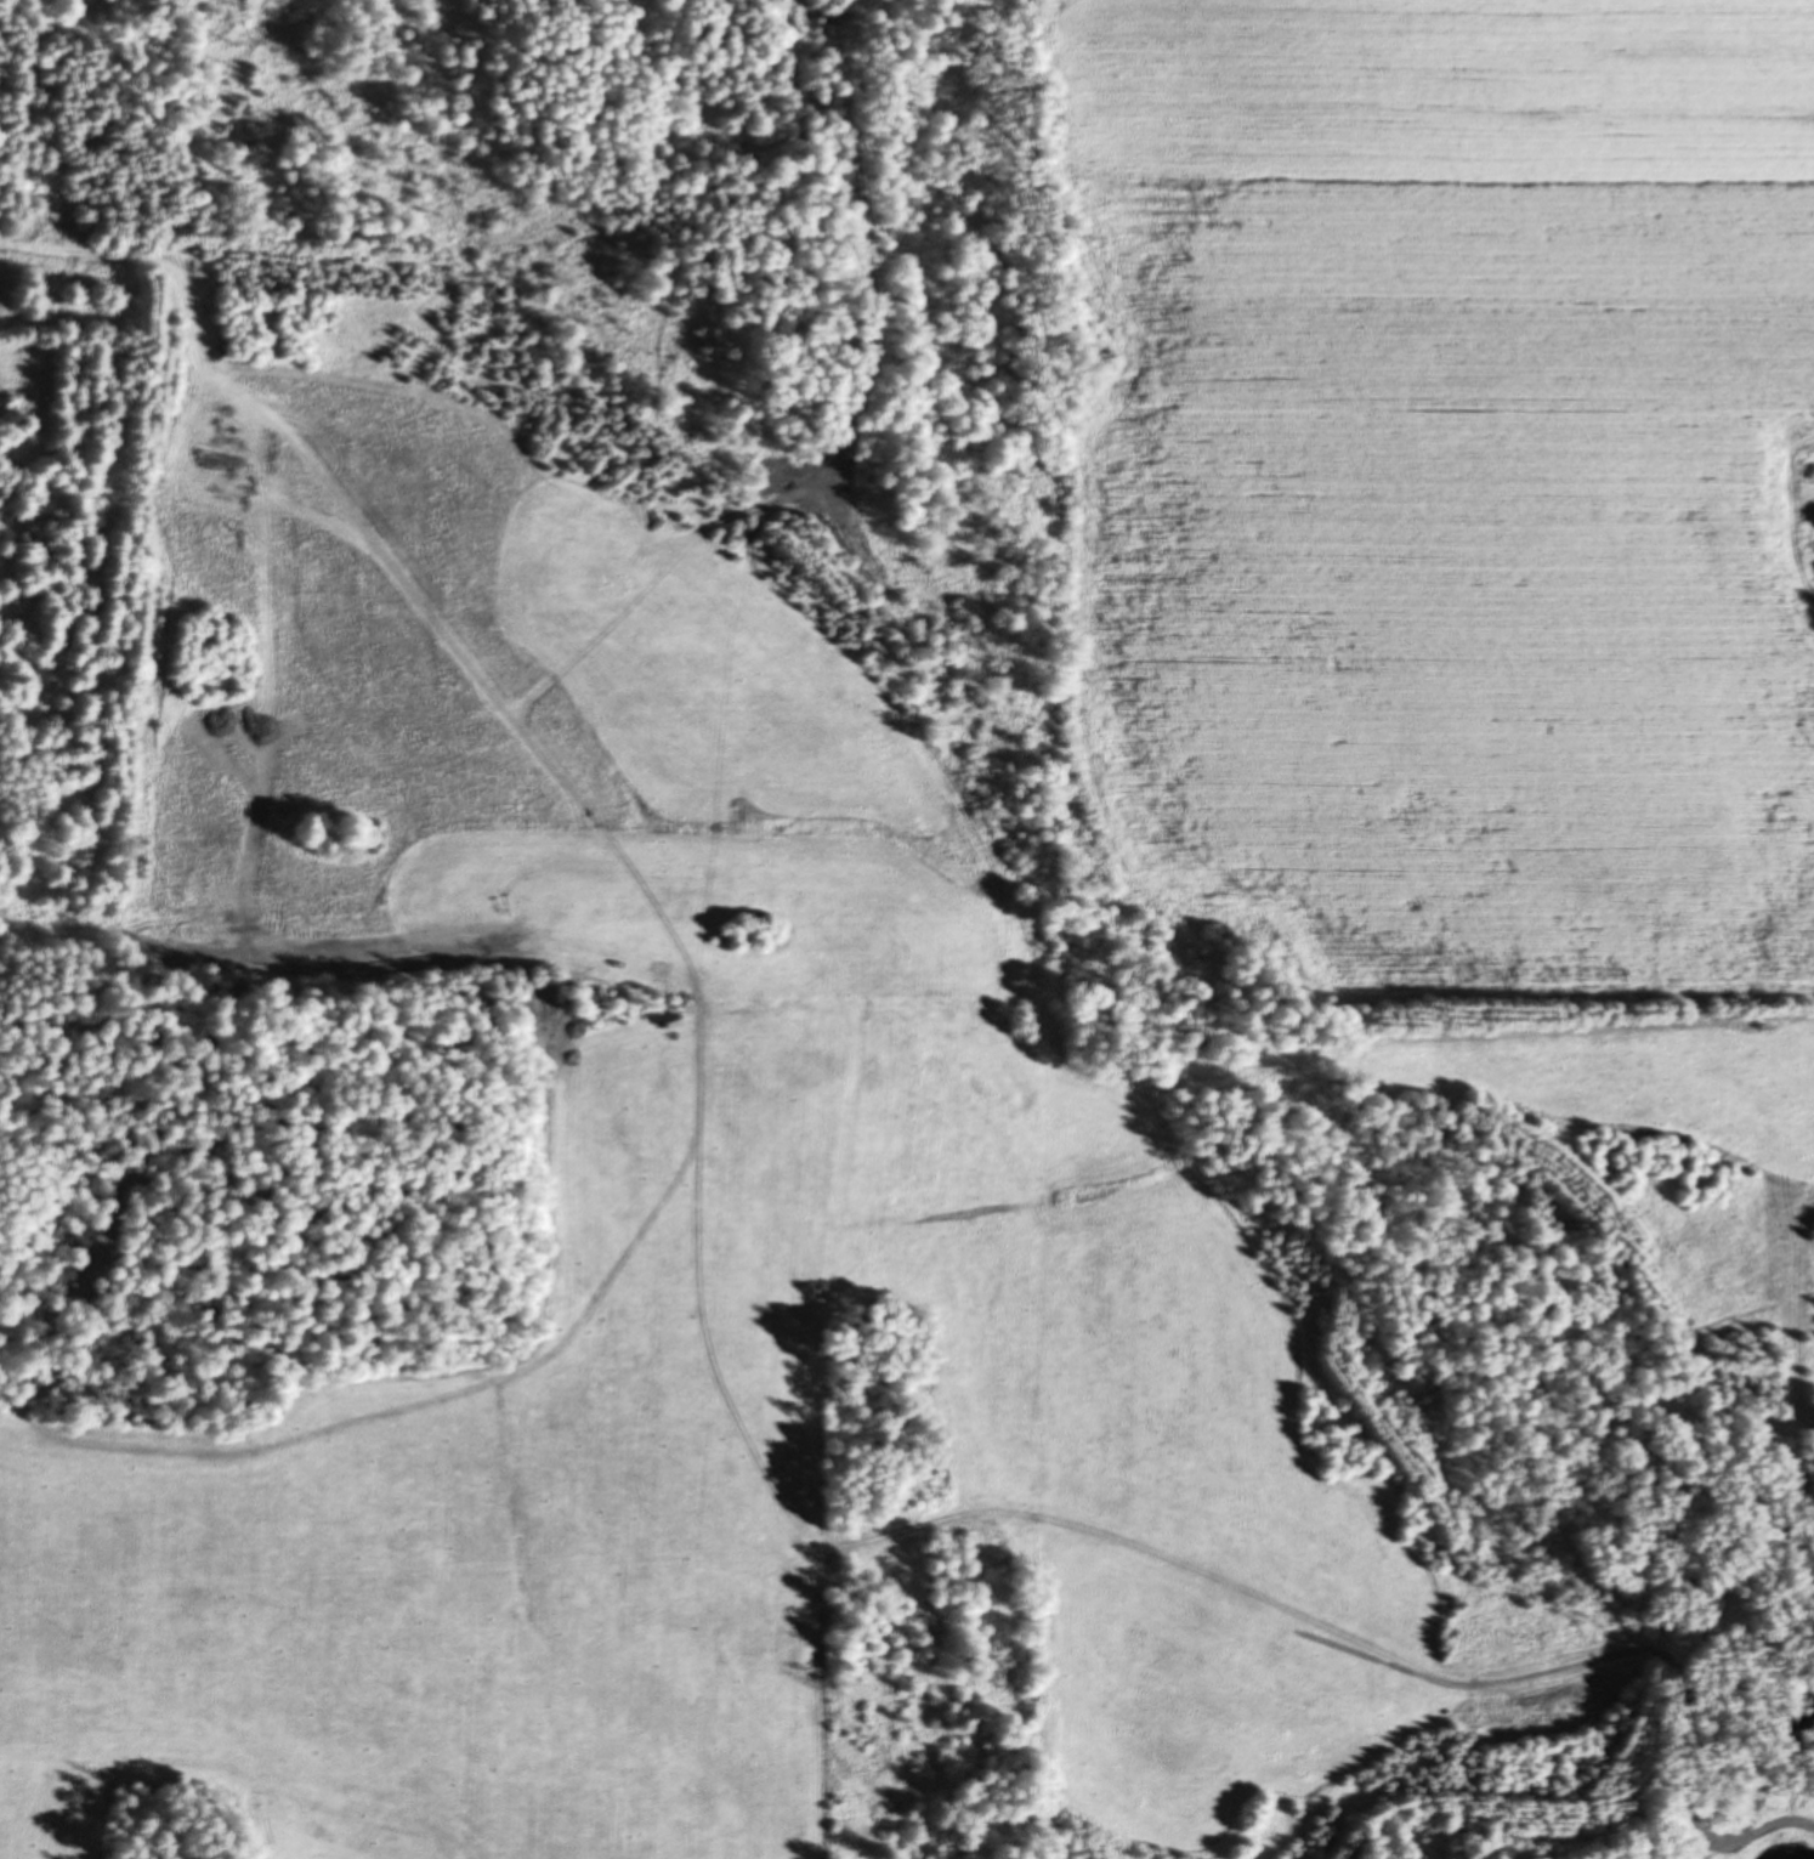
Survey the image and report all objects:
river: (1806, 1857)

